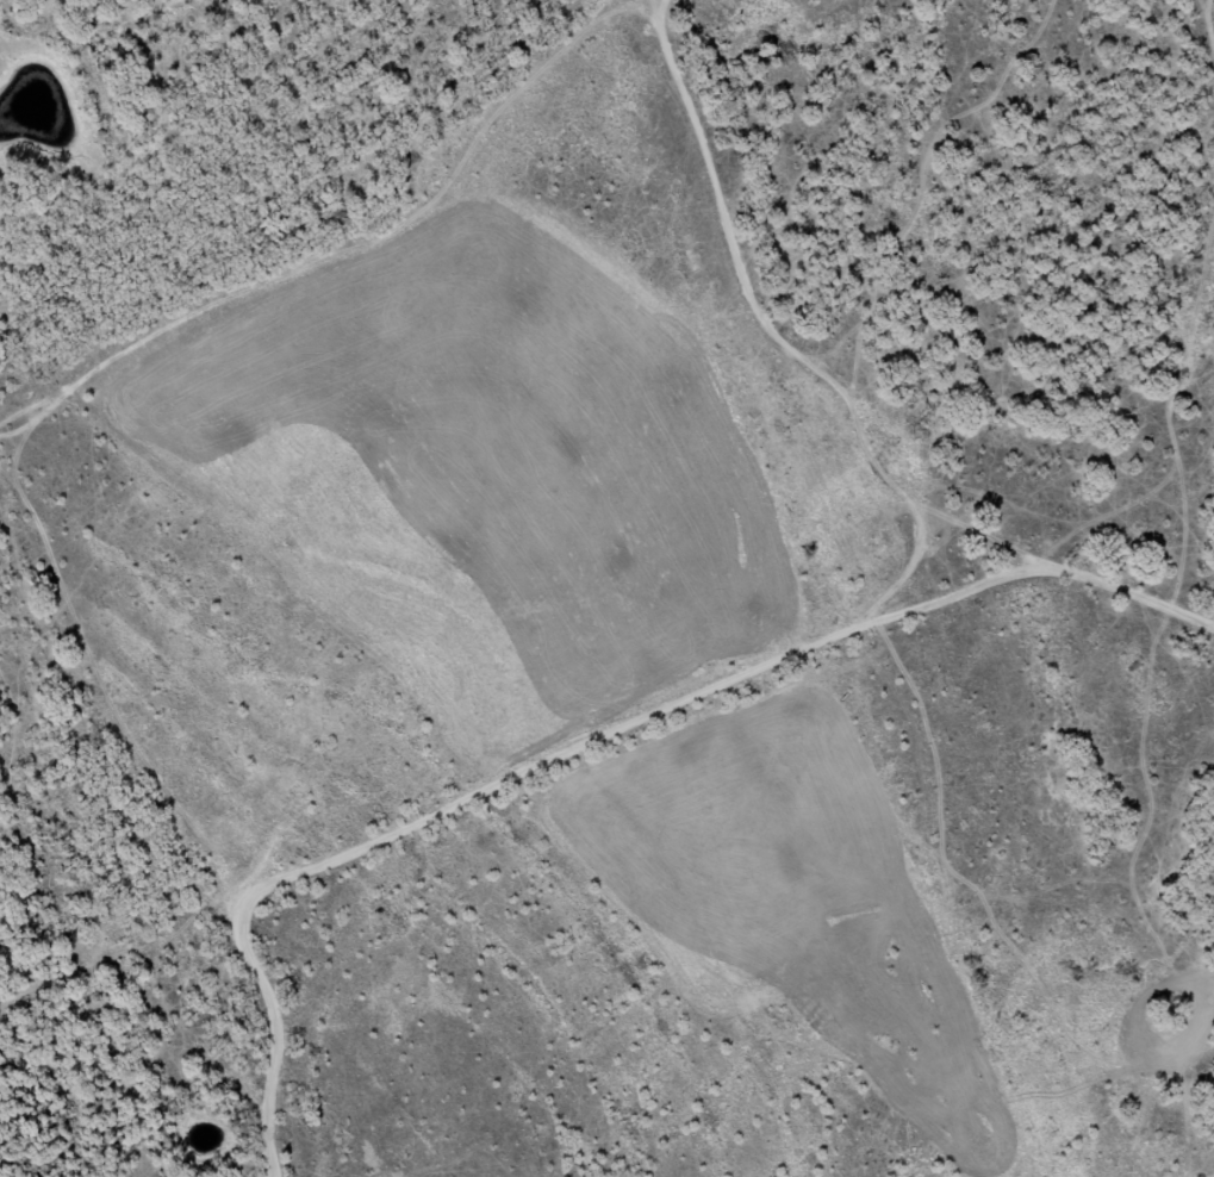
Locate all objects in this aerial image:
road: (66, 497)
road: (928, 596)

